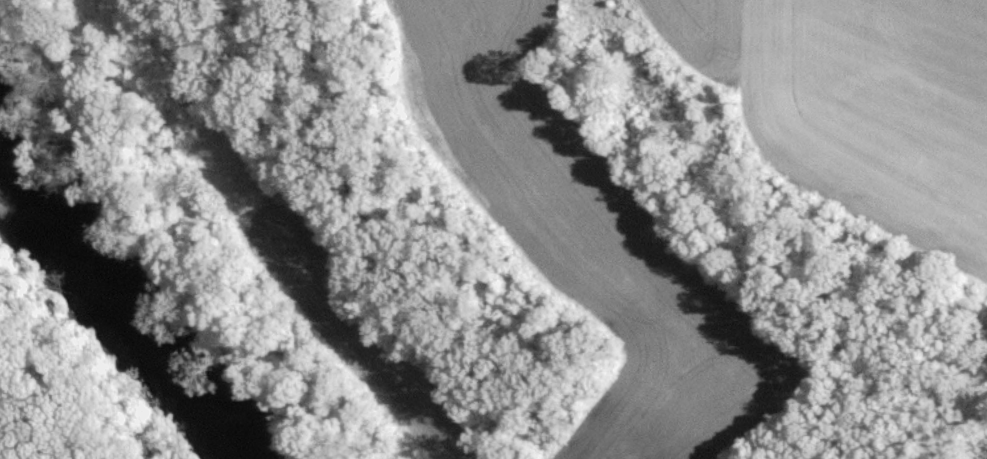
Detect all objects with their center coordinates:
river: (142, 299)

